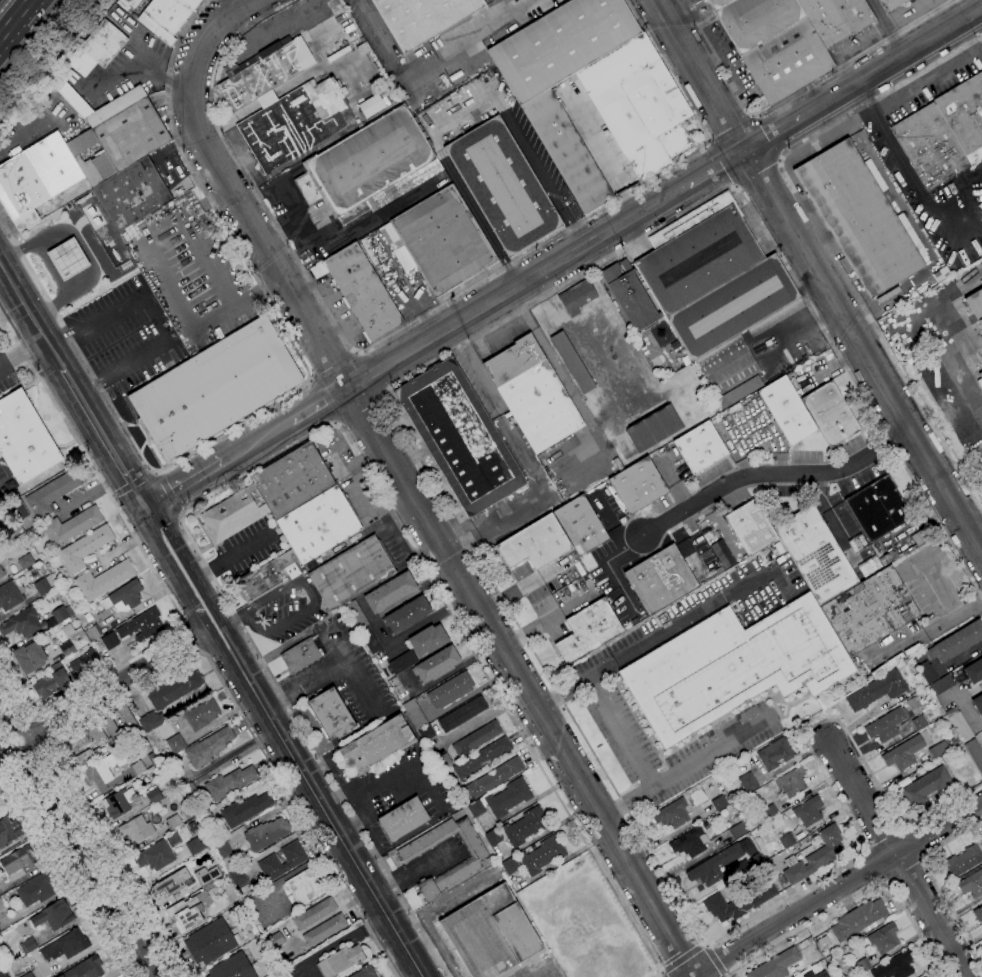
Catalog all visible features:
building: (128, 3)
building: (891, 4)
road: (503, 9)
road: (981, 13)
building: (167, 17)
road: (15, 18)
building: (422, 18)
road: (888, 28)
building: (789, 37)
building: (562, 44)
road: (890, 65)
road: (433, 69)
building: (265, 71)
building: (64, 74)
road: (701, 76)
road: (913, 88)
road: (795, 92)
road: (866, 104)
building: (373, 105)
building: (638, 105)
road: (463, 115)
building: (295, 121)
road: (729, 125)
building: (944, 133)
road: (772, 135)
building: (128, 138)
road: (769, 138)
building: (567, 150)
road: (722, 164)
building: (369, 167)
road: (716, 168)
road: (760, 175)
building: (36, 178)
road: (917, 183)
building: (503, 186)
building: (132, 193)
building: (859, 217)
building: (441, 240)
building: (67, 258)
gas station: (67, 258)
road: (207, 258)
road: (33, 273)
building: (941, 274)
building: (713, 276)
road: (516, 286)
building: (363, 292)
building: (630, 295)
building: (577, 297)
road: (443, 304)
building: (975, 305)
road: (949, 314)
road: (156, 315)
road: (277, 315)
road: (30, 317)
building: (777, 317)
road: (869, 335)
road: (57, 337)
parking lot: (125, 337)
road: (121, 339)
road: (582, 339)
road: (888, 349)
road: (864, 351)
road: (22, 352)
road: (83, 357)
park: (656, 361)
building: (573, 362)
road: (333, 364)
building: (727, 366)
road: (476, 369)
road: (372, 373)
building: (981, 375)
building: (931, 381)
road: (565, 383)
building: (215, 388)
road: (88, 390)
building: (740, 391)
building: (533, 394)
road: (322, 402)
road: (317, 403)
building: (787, 410)
building: (830, 414)
road: (364, 417)
road: (129, 424)
building: (654, 428)
road: (142, 432)
road: (101, 435)
building: (460, 437)
road: (254, 438)
building: (24, 439)
road: (306, 439)
road: (140, 447)
building: (701, 447)
road: (521, 454)
road: (153, 455)
road: (774, 474)
road: (181, 479)
building: (638, 485)
road: (405, 487)
building: (52, 493)
road: (170, 493)
traffic signals: (142, 502)
building: (306, 502)
building: (878, 508)
building: (19, 509)
building: (234, 514)
road: (493, 524)
building: (581, 525)
building: (71, 526)
road: (976, 526)
building: (752, 527)
road: (462, 534)
road: (173, 537)
building: (535, 543)
road: (159, 546)
building: (85, 548)
road: (246, 550)
building: (721, 553)
building: (815, 554)
building: (26, 561)
road: (153, 569)
road: (208, 572)
building: (1, 573)
building: (351, 573)
building: (265, 577)
building: (661, 579)
building: (104, 580)
building: (44, 585)
road: (523, 587)
building: (390, 592)
building: (10, 596)
building: (124, 597)
road: (312, 598)
road: (209, 600)
road: (195, 608)
building: (870, 611)
building: (408, 615)
road: (547, 620)
building: (33, 621)
road: (231, 621)
building: (142, 625)
building: (364, 627)
building: (588, 630)
road: (668, 630)
building: (93, 633)
road: (190, 637)
road: (231, 639)
building: (80, 640)
building: (109, 640)
building: (428, 640)
building: (957, 642)
road: (218, 646)
building: (301, 656)
building: (30, 657)
building: (85, 662)
building: (403, 662)
building: (438, 664)
road: (168, 666)
building: (734, 666)
road: (353, 671)
building: (974, 671)
building: (927, 672)
road: (317, 677)
building: (52, 681)
road: (250, 684)
building: (942, 685)
building: (174, 689)
building: (451, 690)
building: (877, 690)
road: (103, 691)
road: (554, 699)
road: (276, 700)
building: (913, 703)
building: (978, 703)
building: (202, 714)
building: (332, 714)
building: (462, 714)
building: (127, 717)
road: (857, 720)
building: (151, 721)
building: (920, 722)
building: (959, 723)
building: (886, 725)
road: (15, 727)
road: (39, 730)
building: (116, 731)
building: (427, 732)
building: (97, 734)
building: (477, 738)
building: (79, 740)
building: (176, 744)
building: (377, 744)
building: (208, 747)
building: (938, 750)
building: (959, 752)
building: (903, 753)
building: (974, 753)
road: (26, 754)
building: (775, 754)
building: (87, 756)
building: (482, 757)
road: (795, 758)
building: (153, 759)
building: (444, 762)
road: (2, 763)
building: (137, 768)
building: (105, 771)
road: (395, 773)
building: (494, 778)
building: (748, 782)
building: (792, 782)
building: (229, 783)
road: (656, 786)
building: (926, 786)
building: (189, 790)
building: (154, 795)
building: (509, 797)
building: (761, 799)
building: (2, 801)
road: (628, 803)
building: (719, 803)
building: (117, 804)
building: (476, 808)
building: (245, 810)
building: (770, 811)
building: (809, 811)
building: (672, 814)
building: (403, 819)
building: (174, 822)
building: (192, 826)
building: (526, 826)
building: (136, 829)
building: (8, 830)
building: (737, 830)
building: (266, 833)
building: (493, 837)
building: (692, 841)
road: (918, 841)
road: (344, 842)
road: (78, 843)
building: (195, 846)
building: (222, 850)
building: (543, 855)
building: (155, 856)
building: (815, 856)
road: (900, 857)
building: (295, 860)
building: (475, 860)
building: (965, 860)
building: (19, 863)
building: (715, 865)
building: (510, 866)
building: (742, 866)
road: (874, 866)
building: (227, 867)
road: (66, 868)
road: (907, 872)
road: (413, 874)
building: (207, 875)
building: (238, 877)
road: (935, 880)
building: (172, 883)
building: (972, 884)
building: (305, 887)
building: (36, 890)
road: (837, 890)
road: (853, 899)
building: (714, 903)
building: (1, 905)
building: (188, 912)
building: (314, 913)
building: (978, 913)
building: (54, 915)
building: (858, 919)
building: (324, 930)
building: (0, 932)
building: (489, 933)
building: (884, 938)
building: (210, 942)
building: (824, 943)
building: (28, 945)
building: (66, 946)
road: (685, 960)
road: (718, 960)
building: (340, 961)
building: (776, 965)
building: (862, 965)
building: (896, 966)
building: (232, 967)
building: (85, 968)
building: (365, 972)
building: (3, 974)
building: (817, 974)
building: (28, 975)
road: (661, 975)

